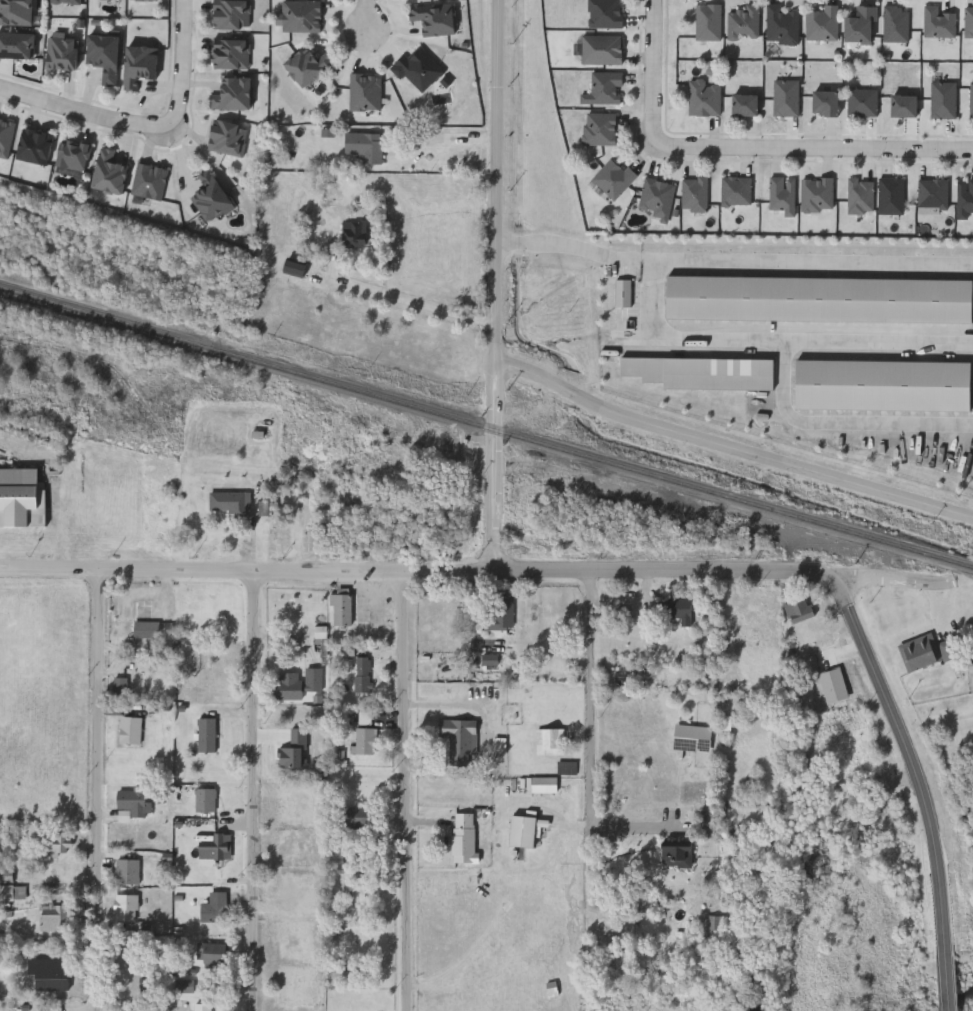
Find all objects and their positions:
building: (144, 0)
building: (67, 2)
building: (231, 14)
building: (605, 14)
building: (302, 16)
building: (435, 18)
road: (361, 19)
building: (708, 23)
building: (744, 23)
building: (822, 24)
building: (938, 24)
building: (969, 24)
building: (896, 25)
building: (781, 26)
building: (863, 26)
building: (18, 45)
building: (602, 51)
building: (231, 53)
building: (104, 55)
road: (182, 64)
building: (139, 65)
building: (310, 65)
building: (418, 70)
building: (604, 89)
building: (365, 92)
building: (233, 94)
building: (704, 99)
building: (786, 99)
building: (942, 101)
building: (971, 101)
building: (862, 103)
building: (827, 104)
building: (746, 105)
building: (901, 107)
road: (85, 111)
building: (600, 129)
building: (229, 137)
road: (446, 139)
building: (35, 145)
building: (365, 146)
road: (742, 146)
building: (74, 155)
road: (181, 164)
building: (111, 171)
building: (614, 179)
building: (149, 180)
building: (736, 191)
building: (933, 194)
building: (695, 195)
building: (816, 195)
building: (212, 196)
building: (782, 196)
building: (860, 197)
building: (890, 197)
building: (658, 198)
building: (965, 199)
building: (354, 233)
road: (569, 246)
road: (806, 262)
building: (884, 272)
road: (497, 284)
building: (818, 300)
road: (413, 302)
building: (856, 330)
road: (679, 339)
building: (697, 371)
road: (782, 377)
building: (883, 383)
railway: (486, 426)
building: (955, 442)
road: (731, 446)
building: (21, 503)
building: (231, 503)
road: (248, 570)
road: (666, 570)
road: (893, 580)
building: (343, 611)
building: (679, 612)
building: (799, 612)
building: (504, 614)
building: (752, 622)
building: (151, 632)
building: (931, 656)
building: (491, 661)
building: (365, 676)
building: (217, 679)
building: (299, 685)
building: (833, 687)
road: (589, 699)
road: (464, 706)
building: (356, 719)
building: (132, 731)
building: (208, 736)
building: (461, 739)
building: (551, 742)
building: (367, 743)
road: (914, 765)
road: (95, 790)
road: (251, 791)
road: (409, 791)
building: (207, 802)
building: (135, 805)
building: (291, 812)
building: (360, 819)
building: (525, 833)
building: (466, 839)
building: (58, 846)
building: (218, 850)
building: (340, 858)
building: (129, 873)
building: (7, 877)
building: (747, 894)
building: (14, 895)
building: (127, 910)
building: (216, 910)
building: (310, 914)
building: (57, 919)
building: (701, 924)
building: (214, 954)
building: (60, 973)
road: (948, 987)
building: (186, 988)
building: (532, 992)
building: (205, 1008)

